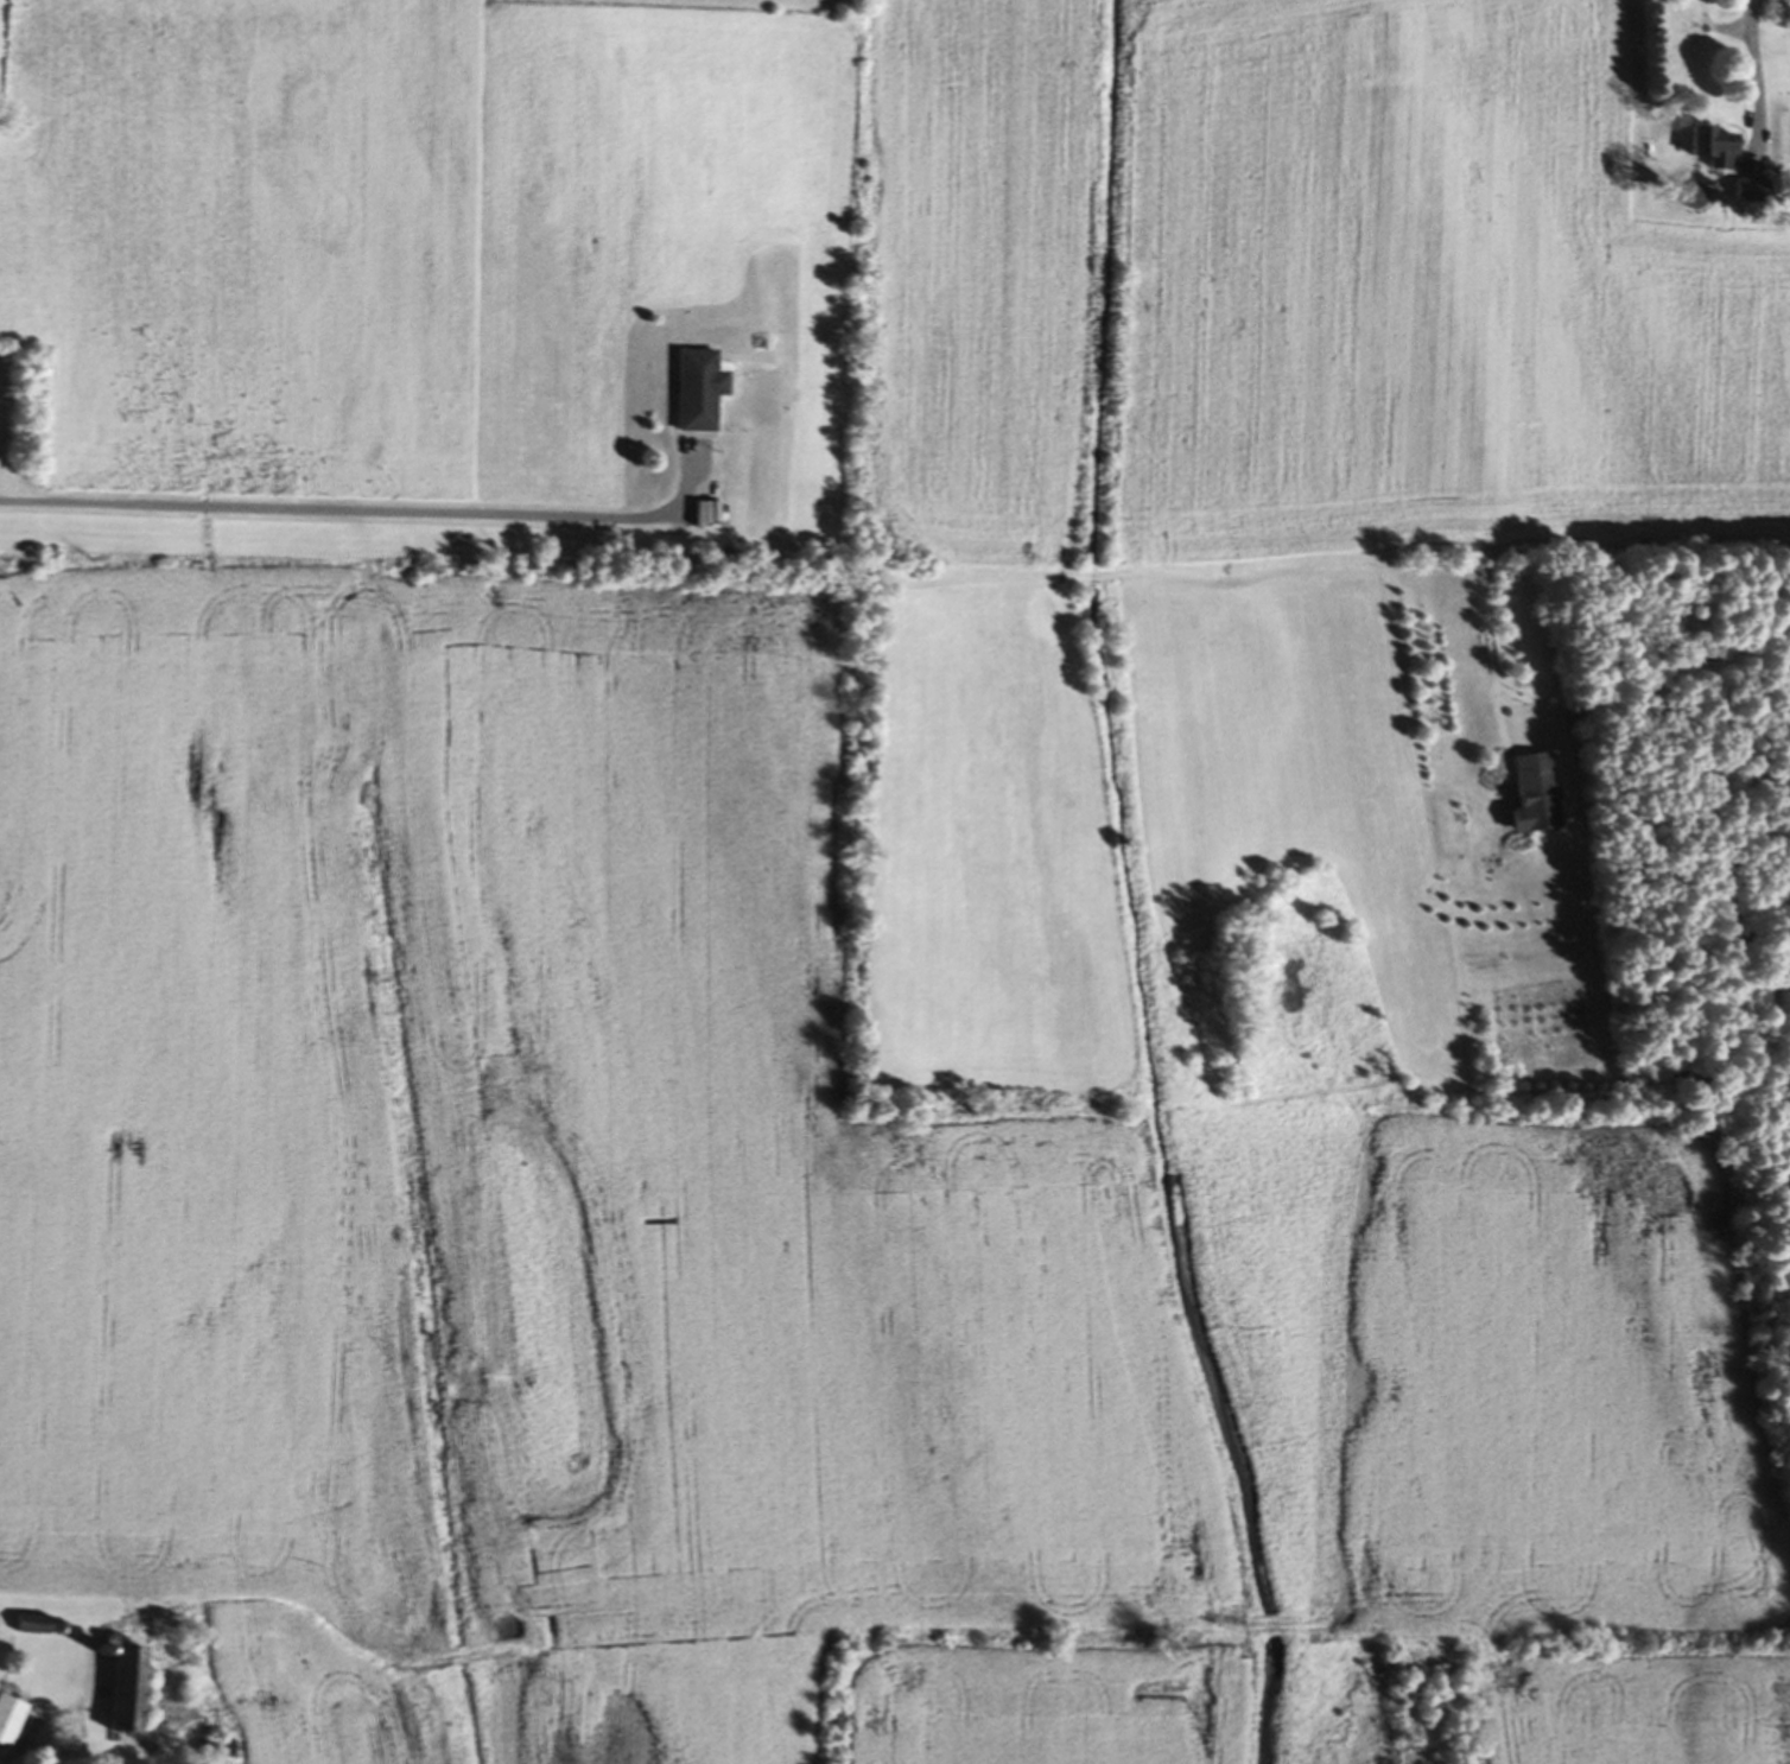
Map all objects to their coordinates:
building: (1779, 0)
road: (1756, 74)
building: (1716, 148)
building: (703, 393)
road: (336, 512)
road: (1672, 677)
building: (1537, 798)
building: (132, 1689)
building: (12, 1721)
building: (227, 1751)
road: (25, 1752)

